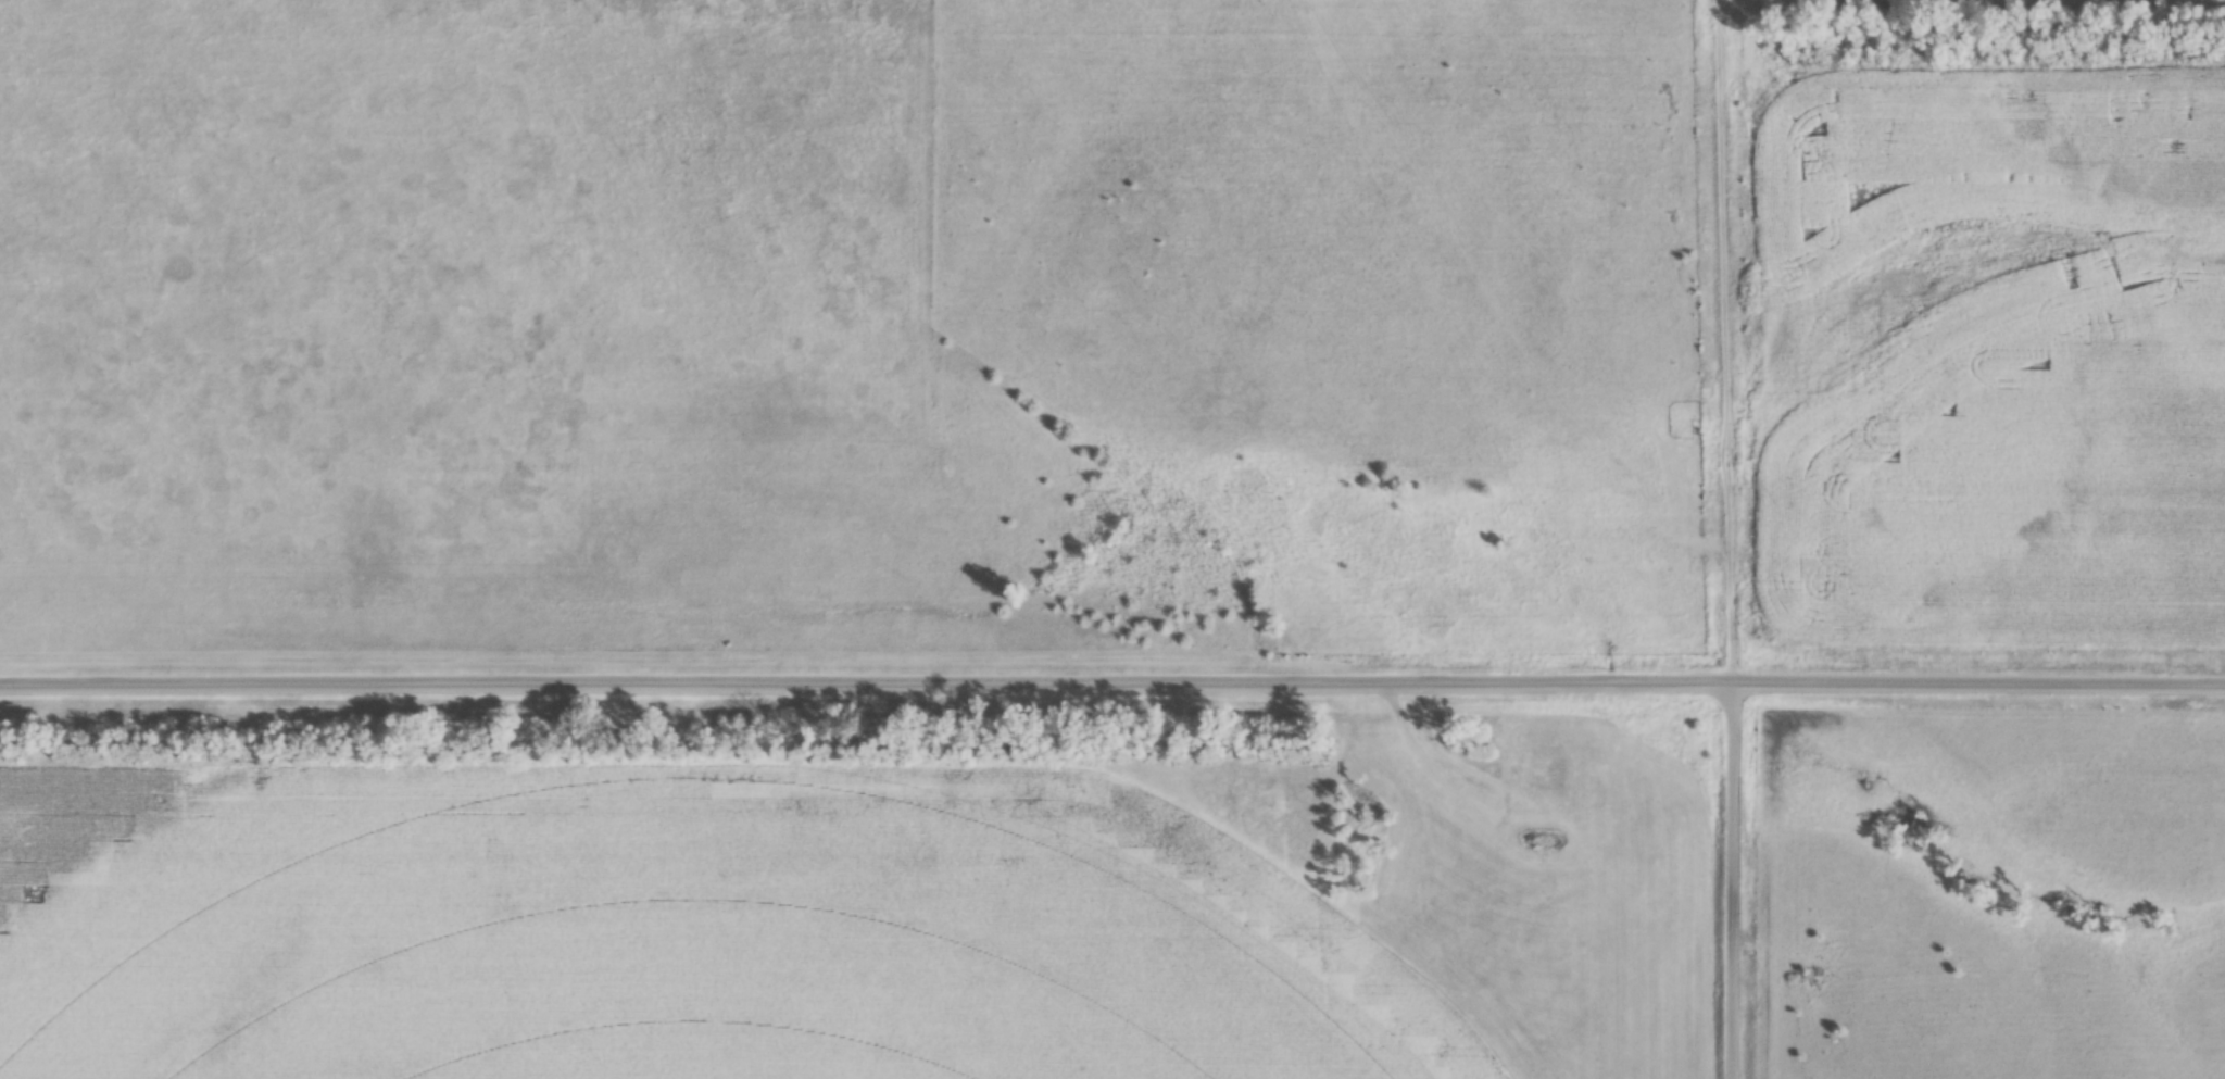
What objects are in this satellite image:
road: (1735, 539)
road: (1112, 686)

